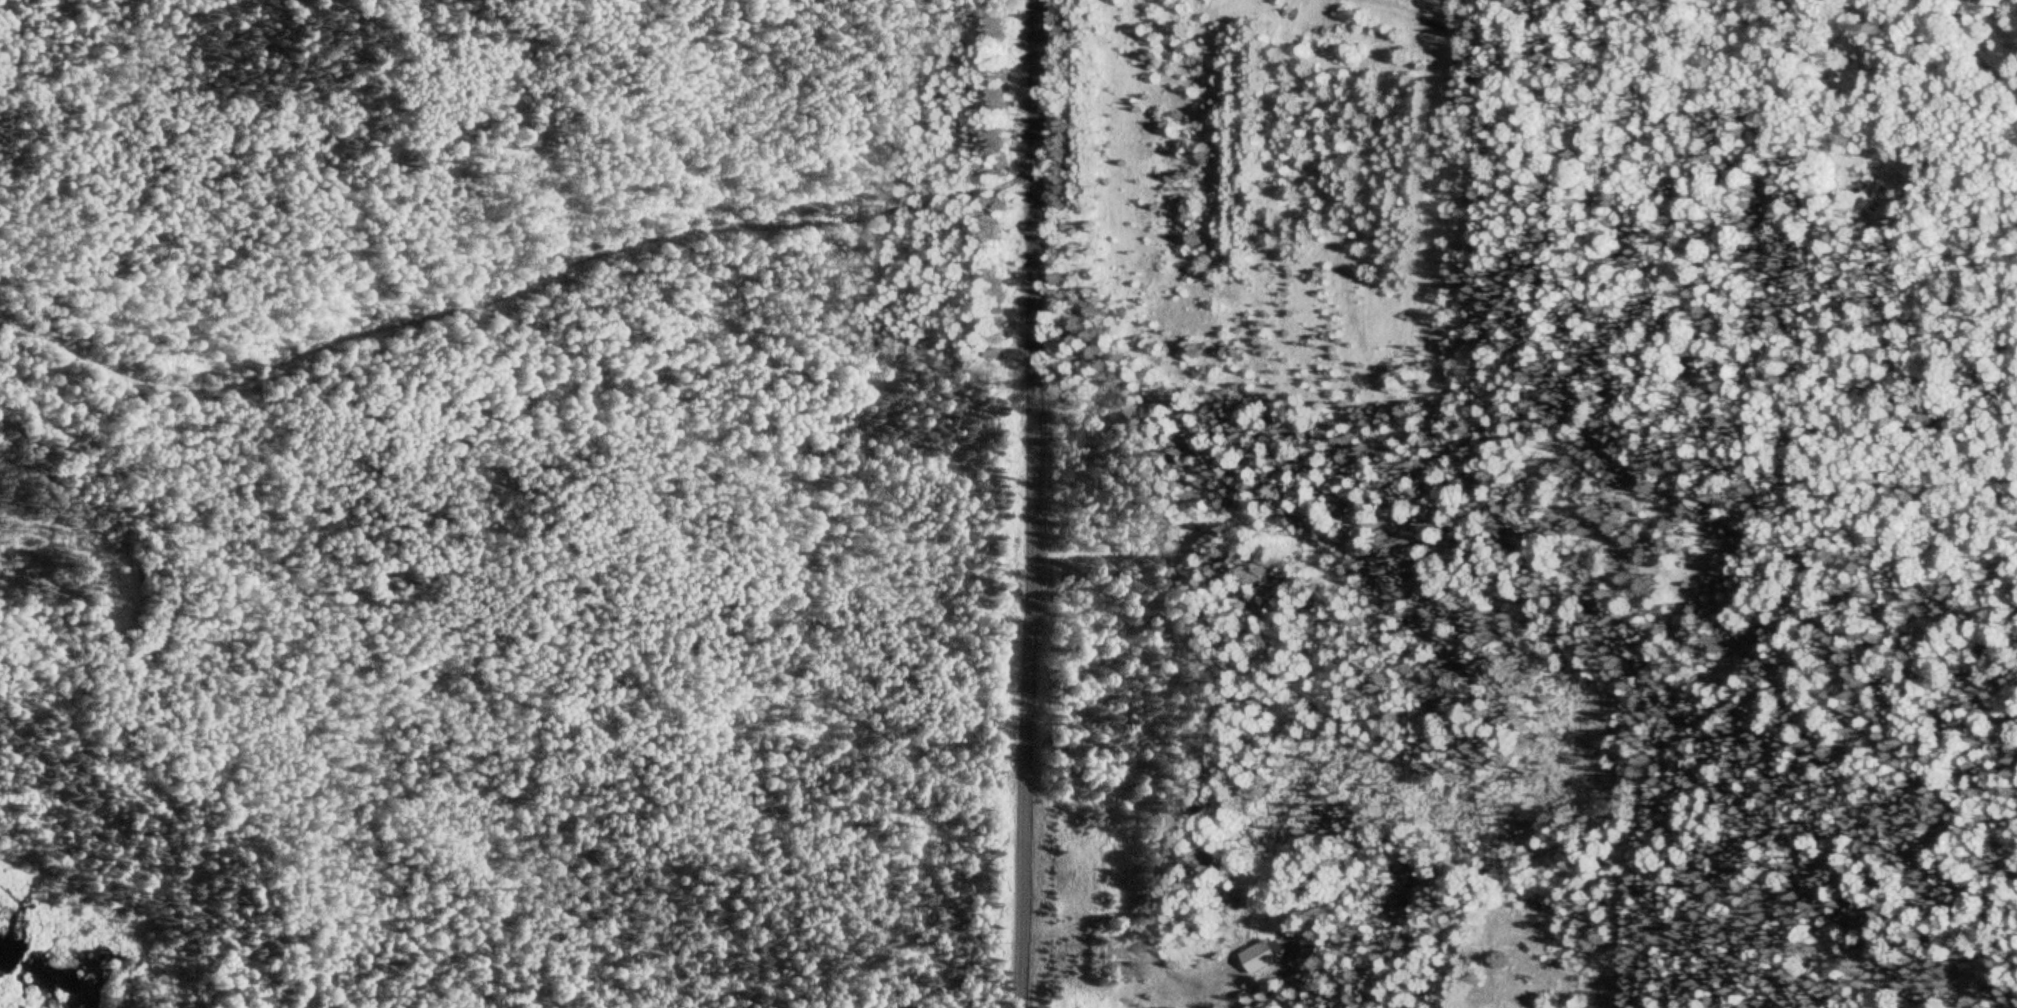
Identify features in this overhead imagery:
road: (1032, 503)
road: (1530, 861)
building: (1265, 957)
river: (57, 960)

